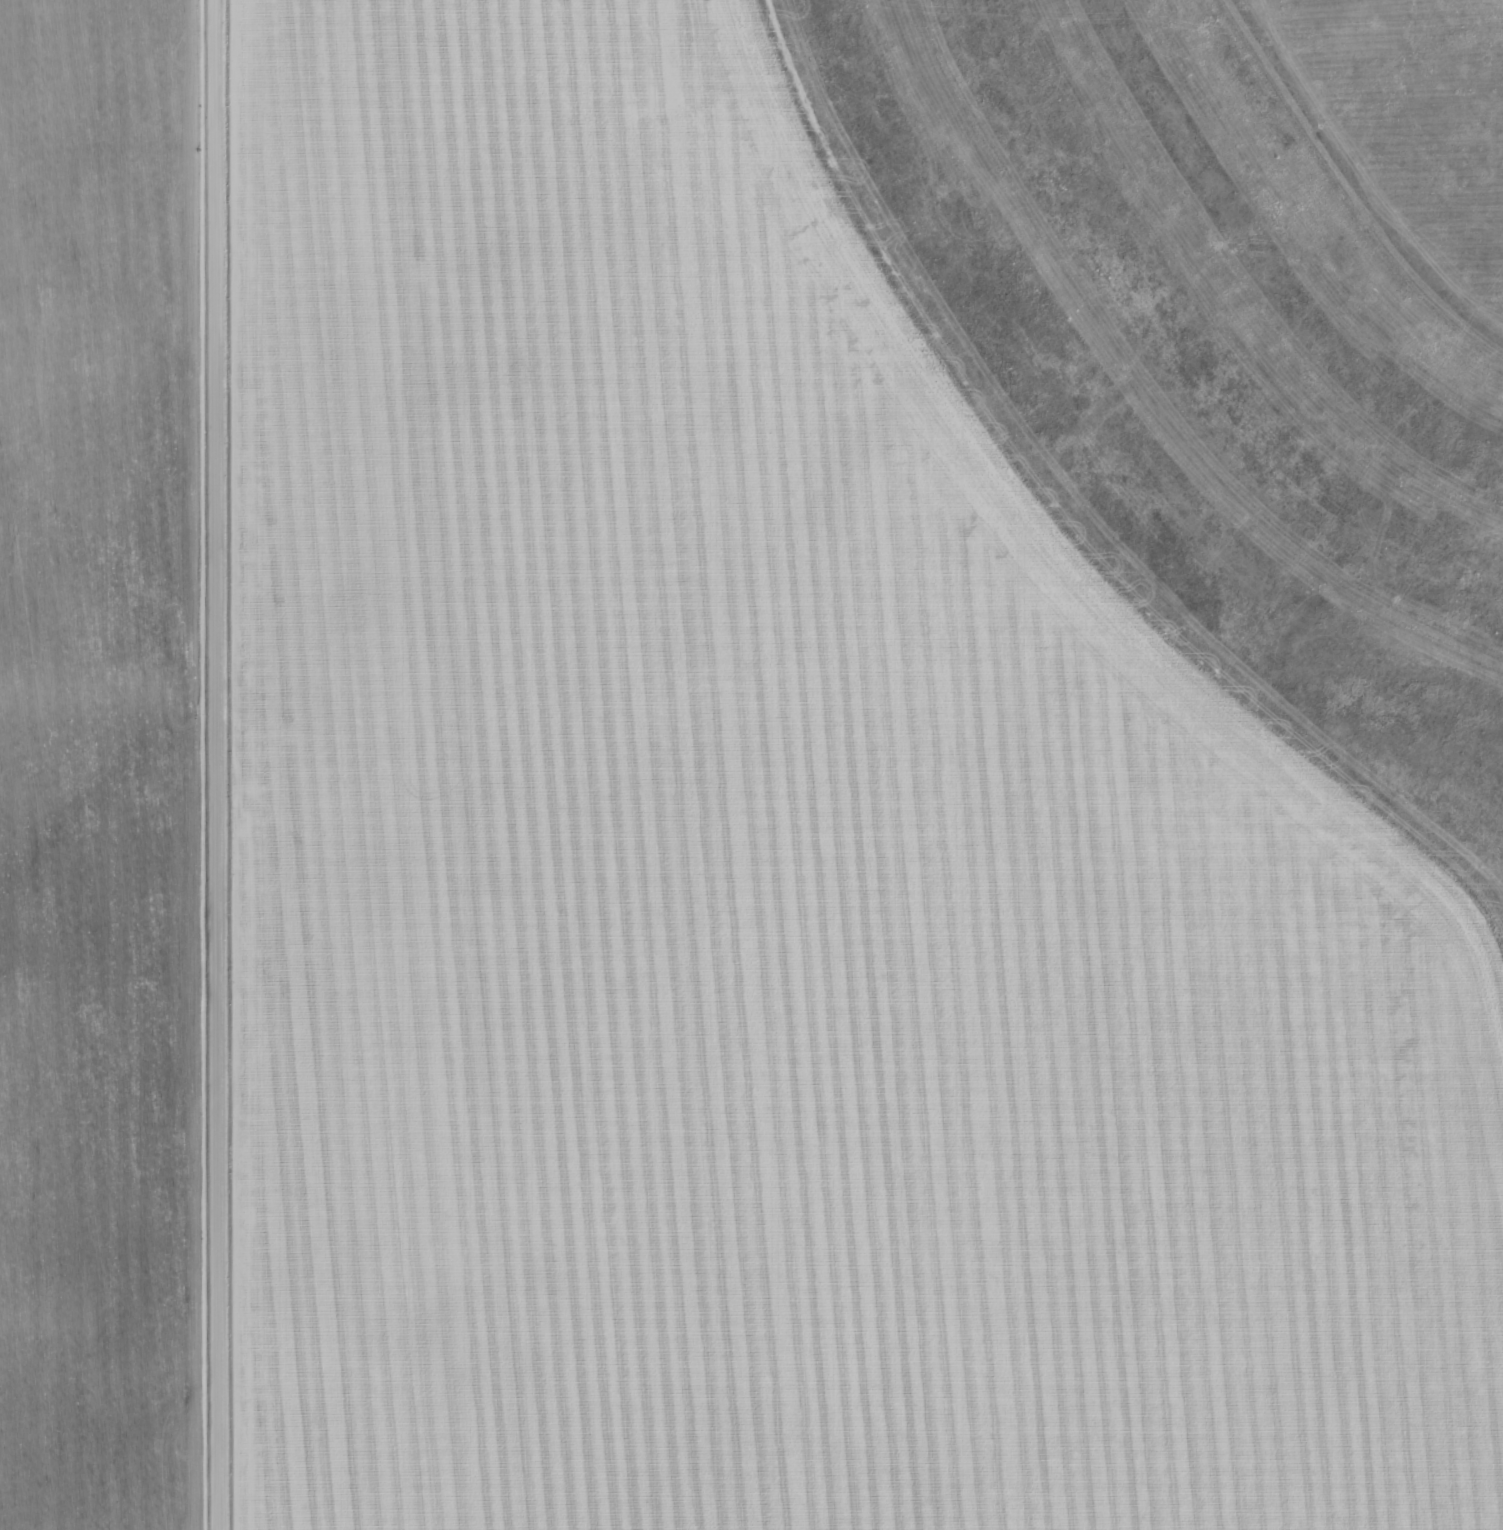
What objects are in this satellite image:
road: (220, 765)

